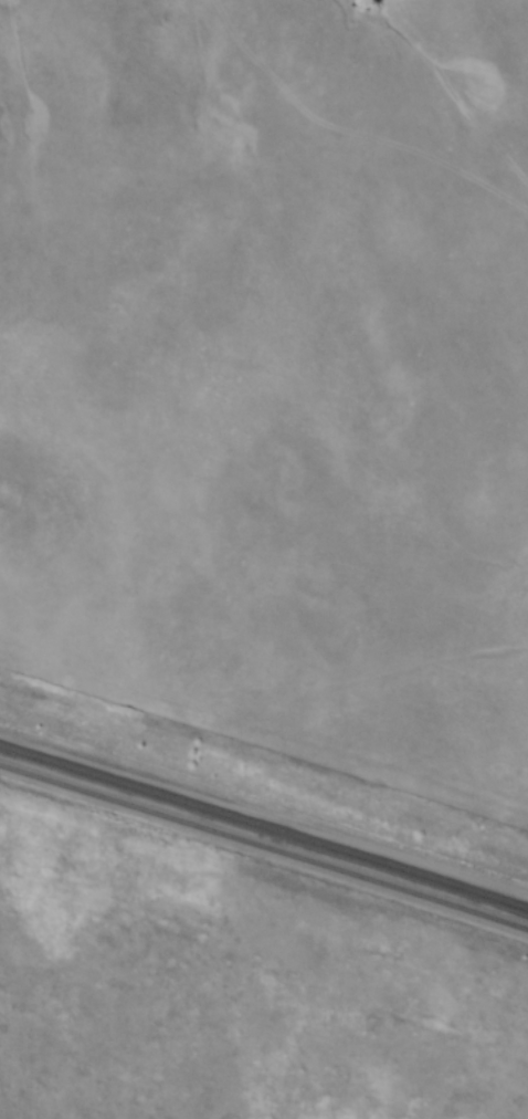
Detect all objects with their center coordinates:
railway: (264, 828)
railway: (264, 841)

